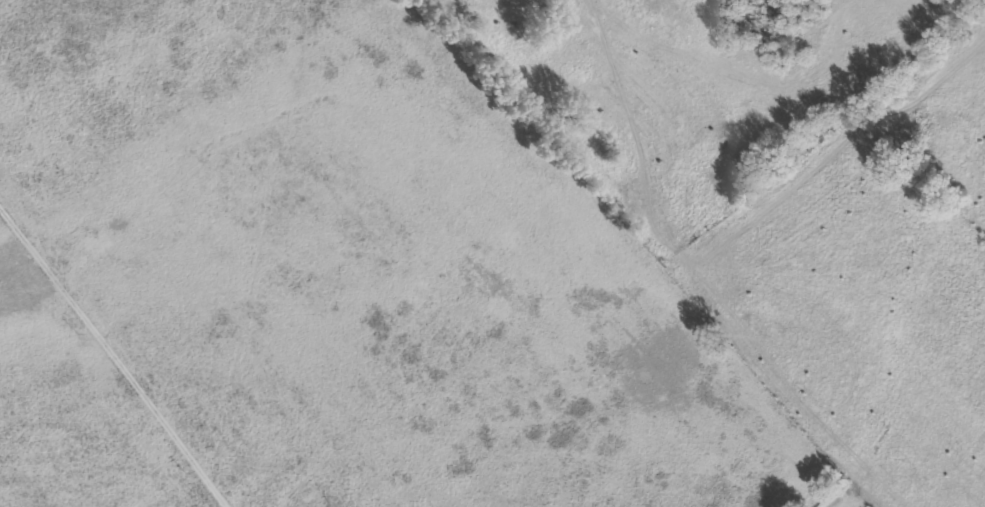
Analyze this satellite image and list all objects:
road: (106, 368)

